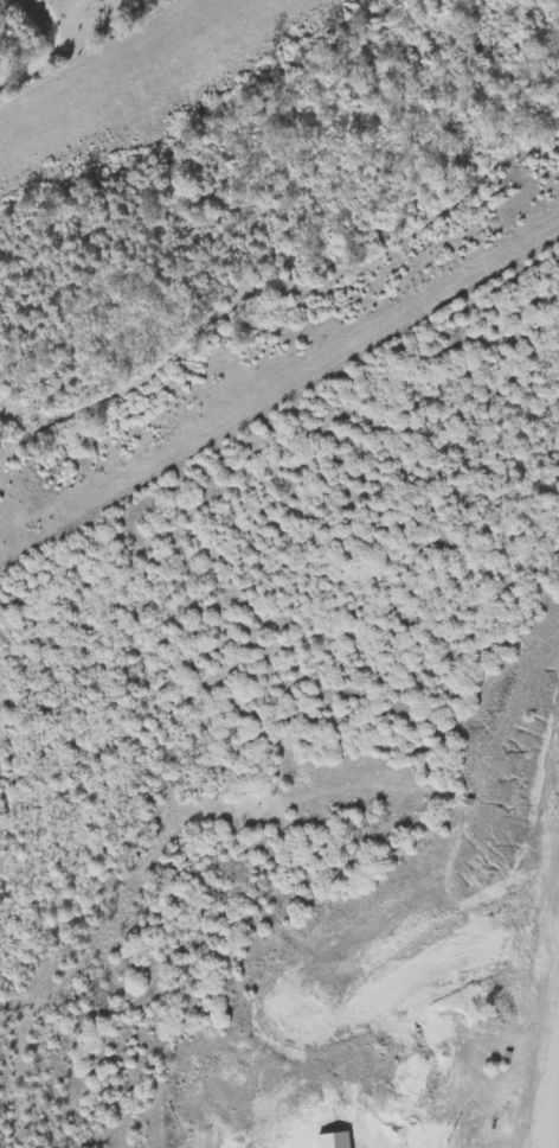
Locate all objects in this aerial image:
building: (339, 1141)

